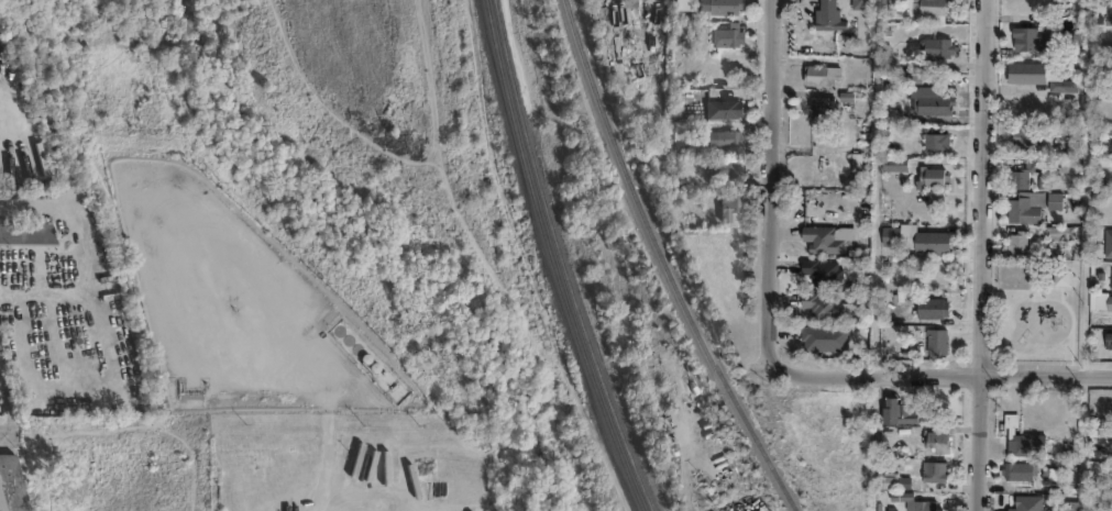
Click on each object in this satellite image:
building: (624, 2)
building: (855, 4)
building: (725, 7)
building: (926, 10)
building: (823, 15)
building: (726, 37)
building: (1028, 38)
building: (933, 48)
building: (815, 75)
building: (1038, 75)
building: (1104, 90)
building: (926, 101)
building: (815, 109)
building: (724, 110)
building: (1021, 134)
building: (717, 138)
building: (932, 144)
building: (891, 163)
building: (720, 169)
building: (850, 170)
building: (1024, 174)
building: (924, 177)
road: (772, 189)
building: (1053, 200)
building: (727, 207)
building: (1024, 207)
building: (1053, 232)
building: (29, 234)
building: (912, 240)
building: (818, 241)
building: (1019, 243)
building: (1107, 244)
road: (984, 255)
railway: (548, 259)
railway: (563, 259)
railway: (672, 260)
building: (818, 273)
building: (1111, 276)
building: (1108, 302)
building: (817, 308)
building: (927, 308)
building: (1108, 342)
building: (931, 343)
road: (948, 376)
building: (895, 409)
building: (931, 440)
building: (1026, 442)
building: (1019, 468)
building: (928, 469)
building: (890, 480)
building: (13, 485)
building: (912, 501)
building: (1026, 502)
building: (1080, 506)

